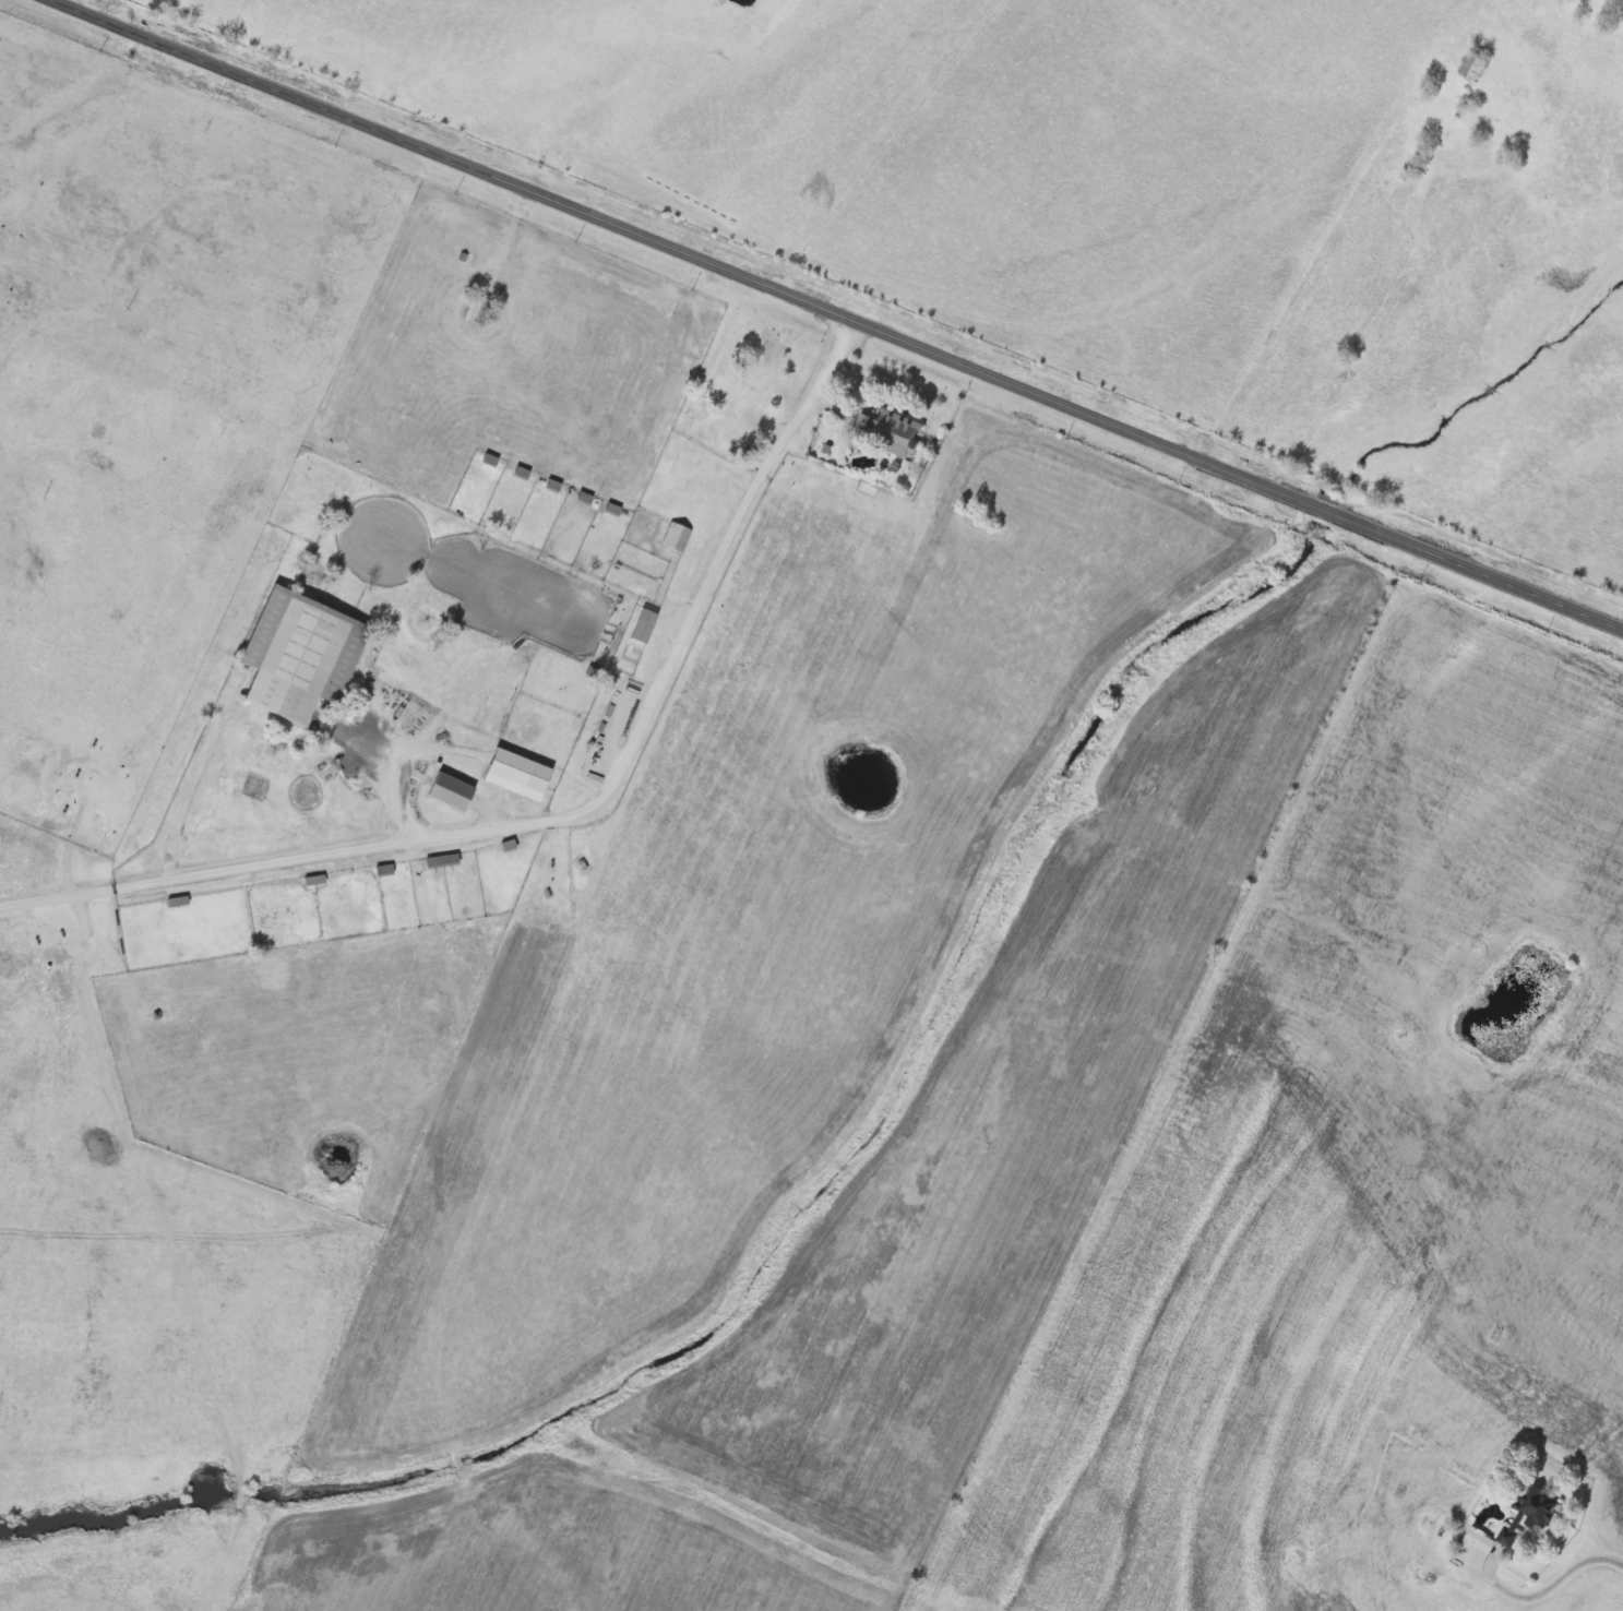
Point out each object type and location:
building: (1471, 67)
building: (476, 308)
road: (846, 312)
building: (887, 428)
building: (672, 535)
road: (557, 558)
building: (642, 624)
building: (296, 654)
road: (447, 706)
road: (385, 759)
building: (515, 773)
road: (186, 790)
building: (449, 790)
road: (572, 811)
building: (313, 879)
road: (79, 900)
building: (176, 902)
building: (1527, 1514)
building: (1495, 1540)
building: (1473, 1547)
road: (1559, 1571)

